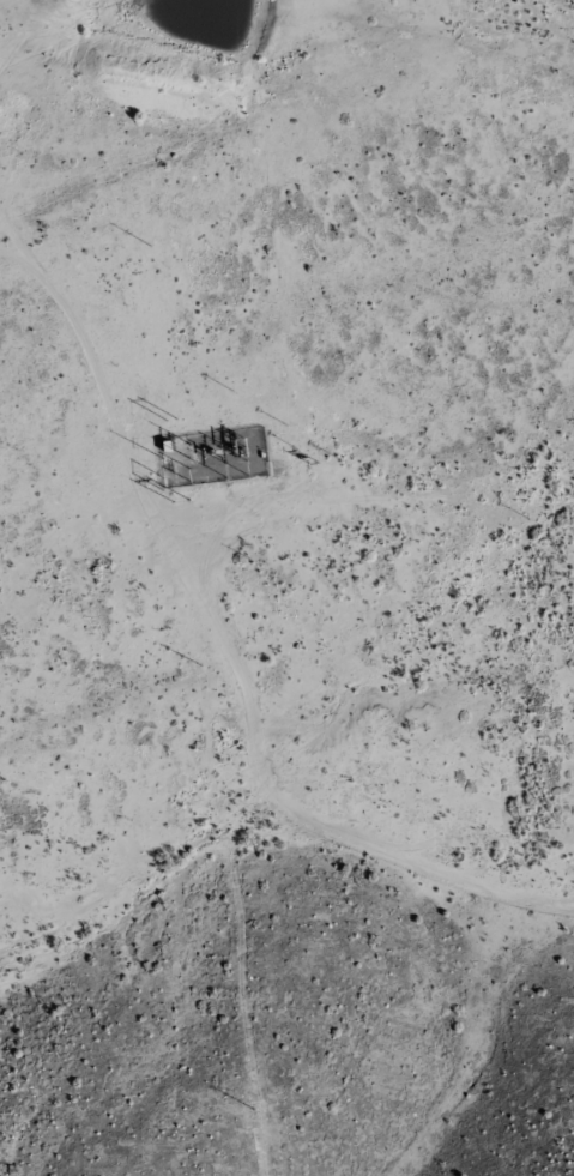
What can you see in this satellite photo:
road: (240, 137)
power tower: (174, 421)
power tower: (177, 457)
power substation: (215, 457)
power tower: (182, 501)
road: (252, 694)

